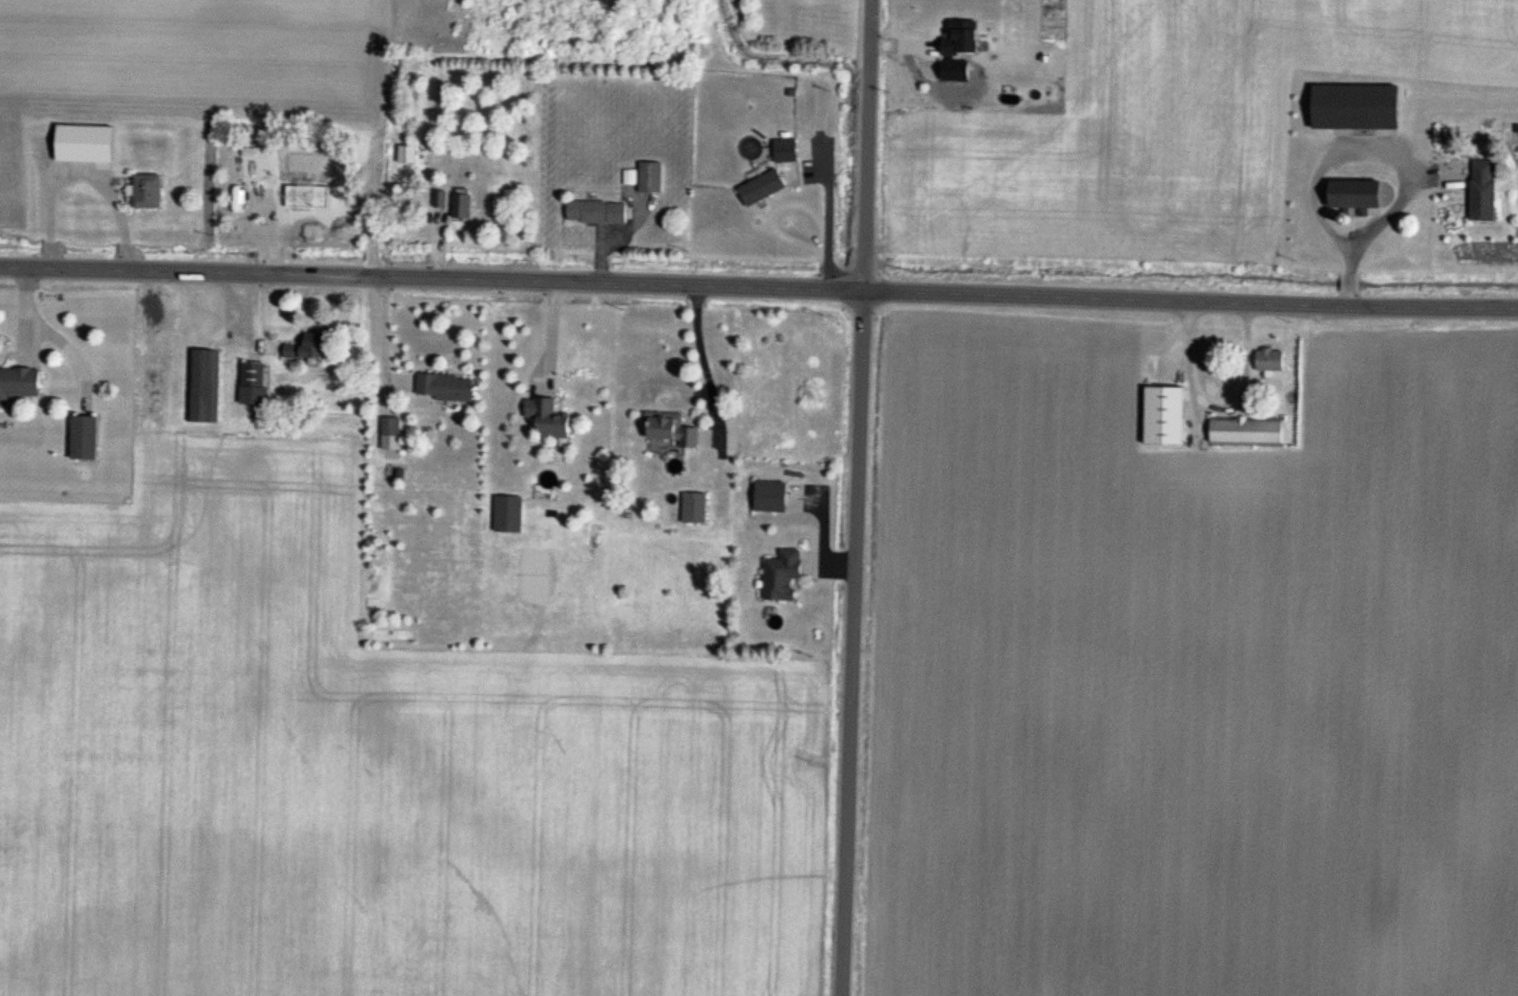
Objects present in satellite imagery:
building: (1355, 108)
building: (84, 144)
road: (1401, 150)
building: (786, 151)
building: (407, 155)
road: (80, 171)
building: (651, 178)
building: (762, 188)
building: (1483, 191)
building: (146, 192)
building: (1355, 195)
building: (440, 200)
building: (462, 206)
building: (597, 212)
road: (759, 285)
road: (385, 335)
road: (552, 335)
road: (54, 336)
building: (311, 348)
road: (706, 361)
building: (1270, 361)
building: (19, 383)
building: (253, 384)
building: (445, 388)
building: (204, 410)
building: (1164, 416)
building: (548, 419)
building: (392, 427)
building: (671, 430)
building: (1247, 432)
building: (83, 438)
building: (771, 497)
road: (857, 498)
building: (508, 514)
building: (782, 576)

